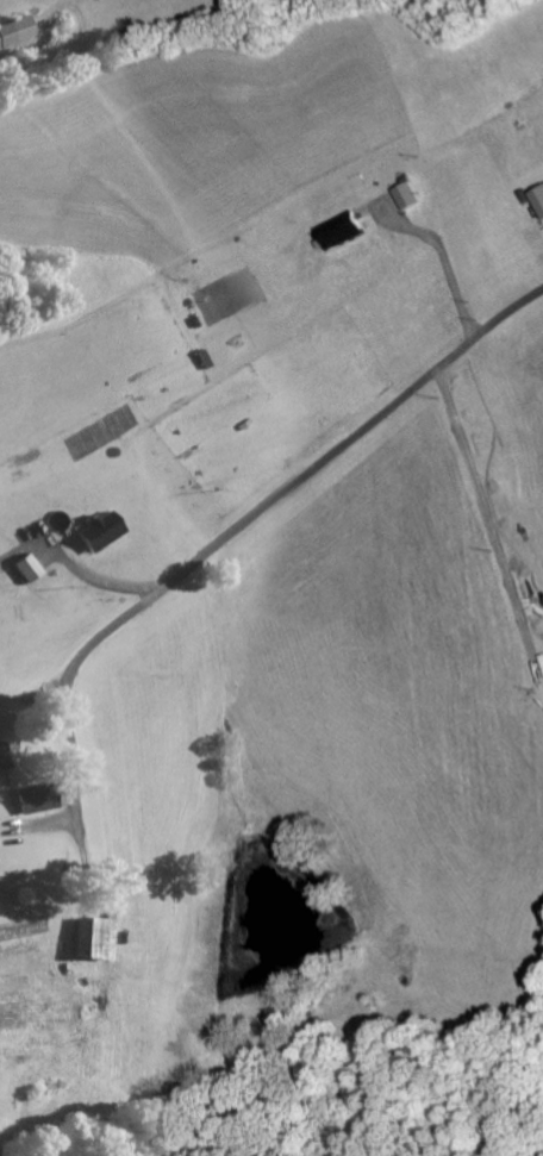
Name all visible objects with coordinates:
building: (17, 32)
road: (492, 42)
building: (535, 201)
building: (332, 231)
road: (239, 525)
building: (102, 530)
building: (30, 568)
building: (4, 757)
building: (38, 796)
building: (95, 938)

